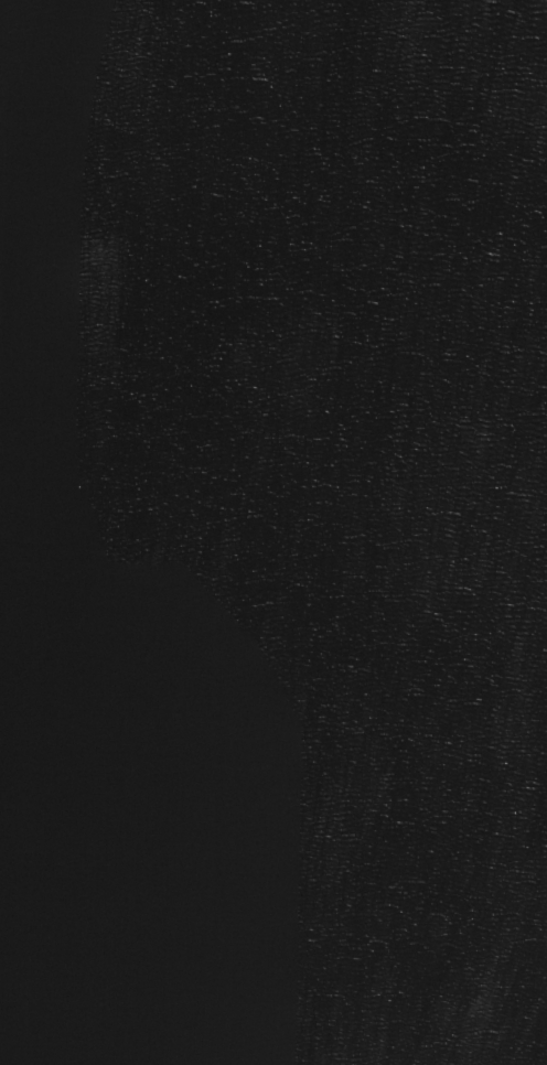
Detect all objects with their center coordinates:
park: (273, 532)

